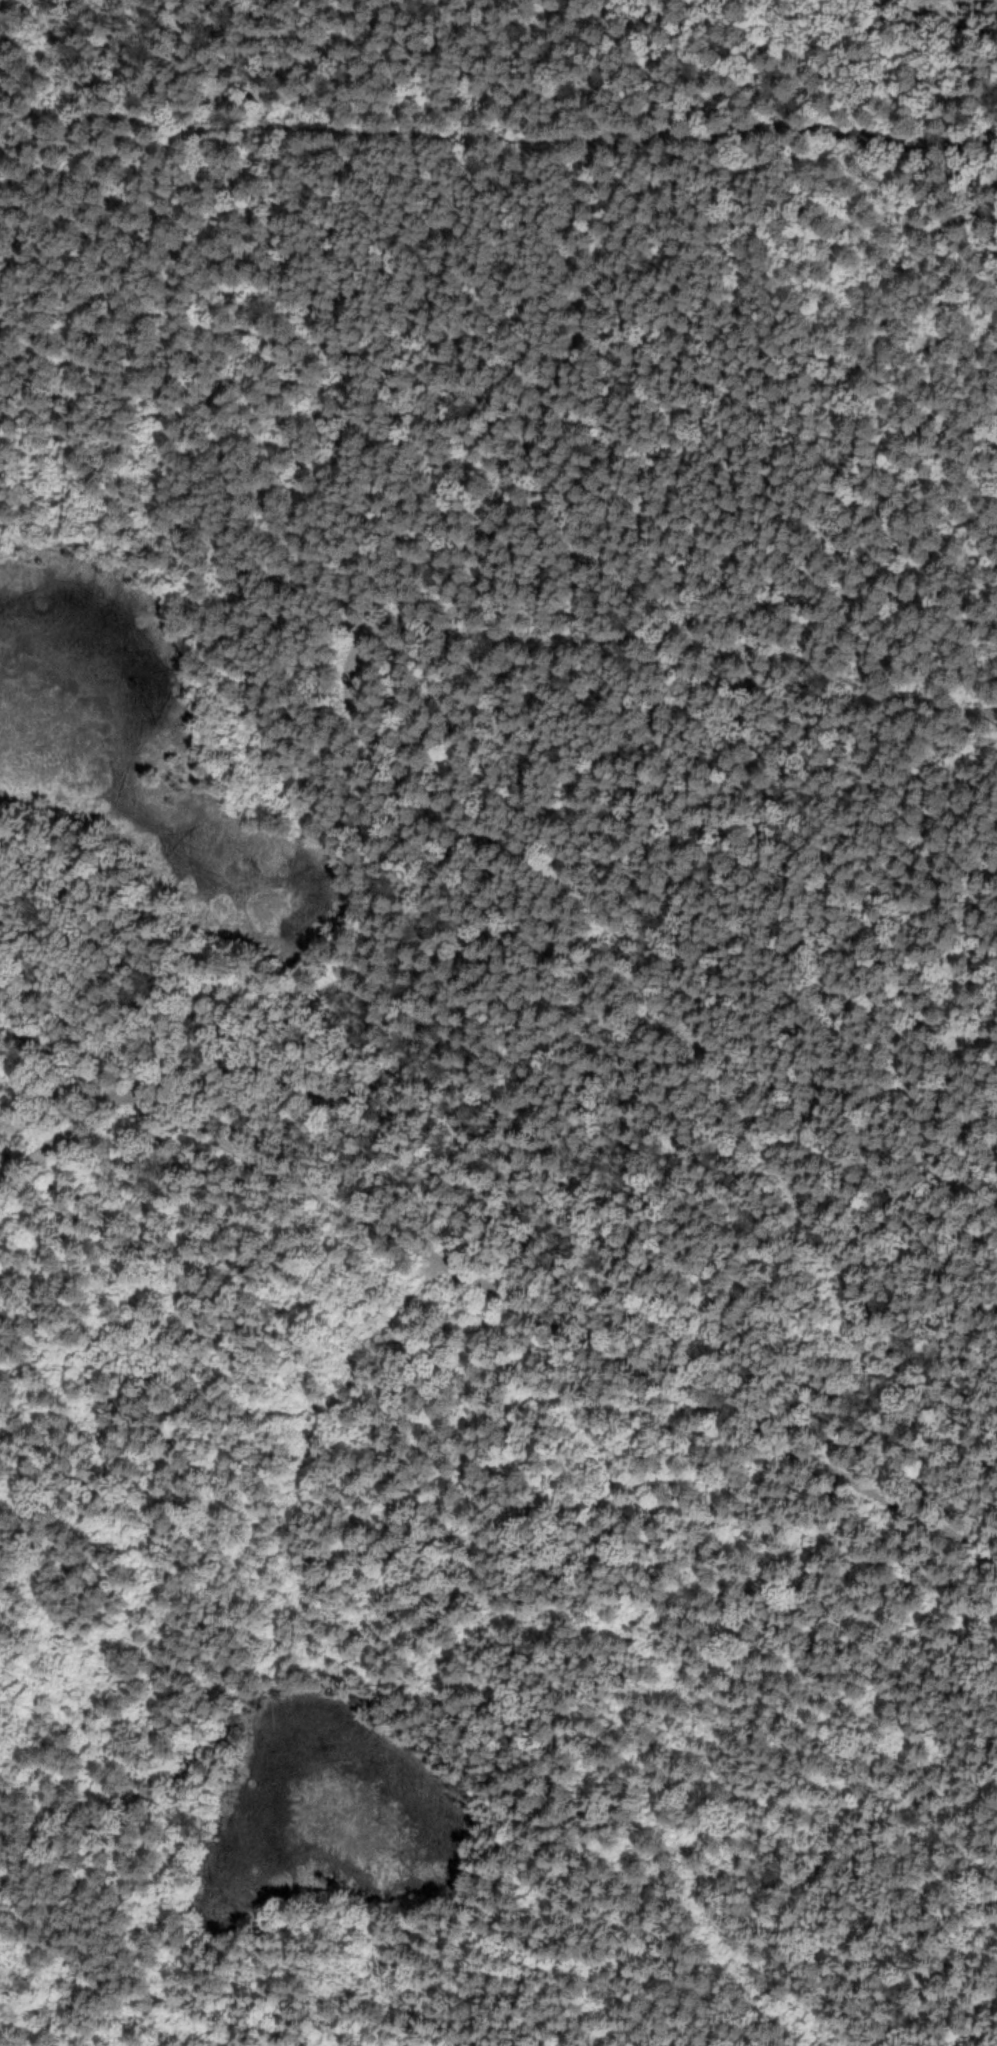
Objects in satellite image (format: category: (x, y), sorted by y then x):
road: (479, 128)
road: (687, 640)
road: (418, 761)
road: (499, 1283)

